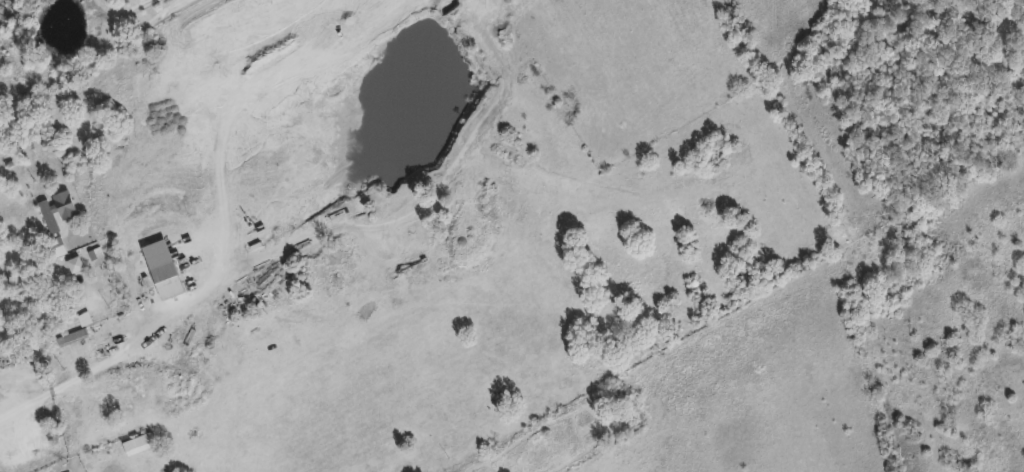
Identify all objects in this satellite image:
road: (95, 57)
building: (57, 208)
building: (75, 263)
road: (13, 308)
building: (71, 335)
road: (123, 354)
road: (478, 456)

